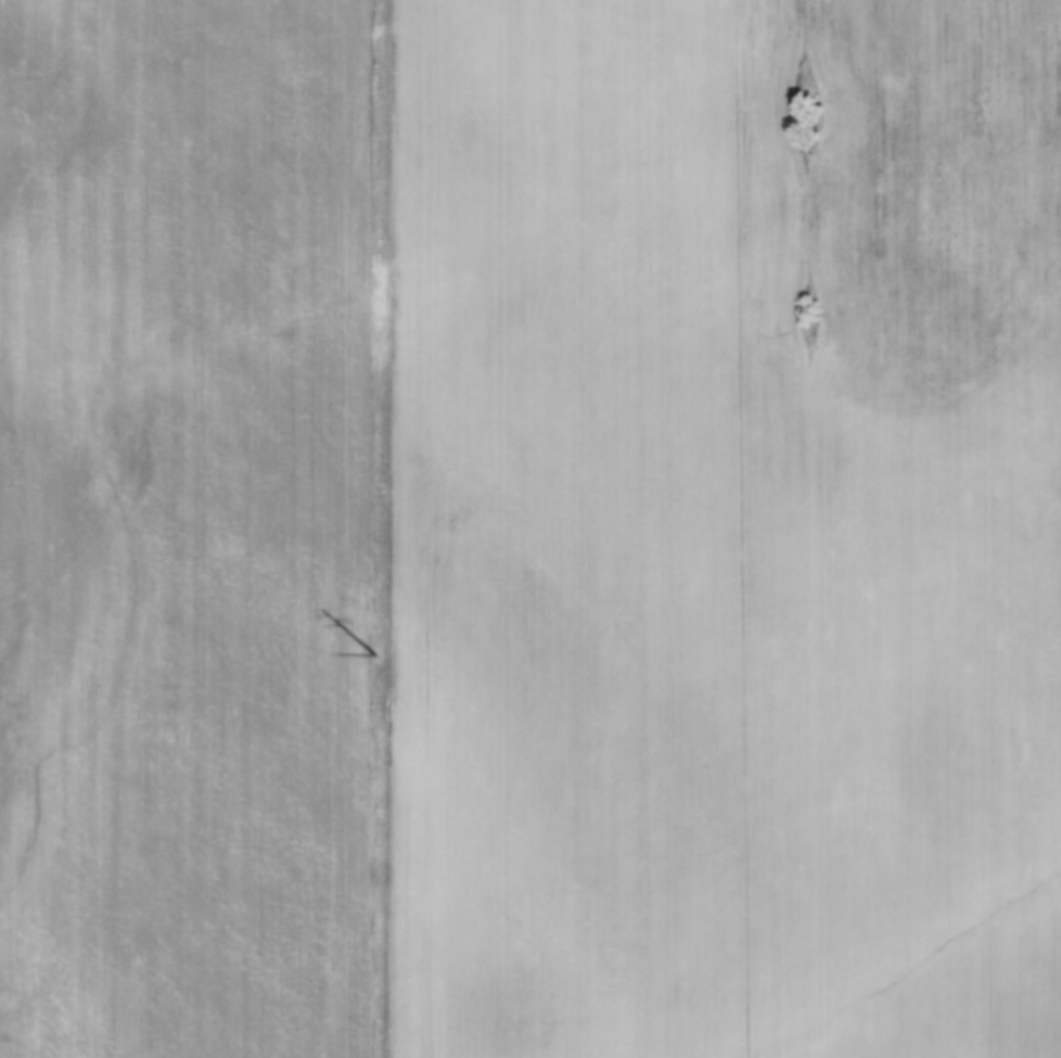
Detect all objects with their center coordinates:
power tower: (372, 654)

